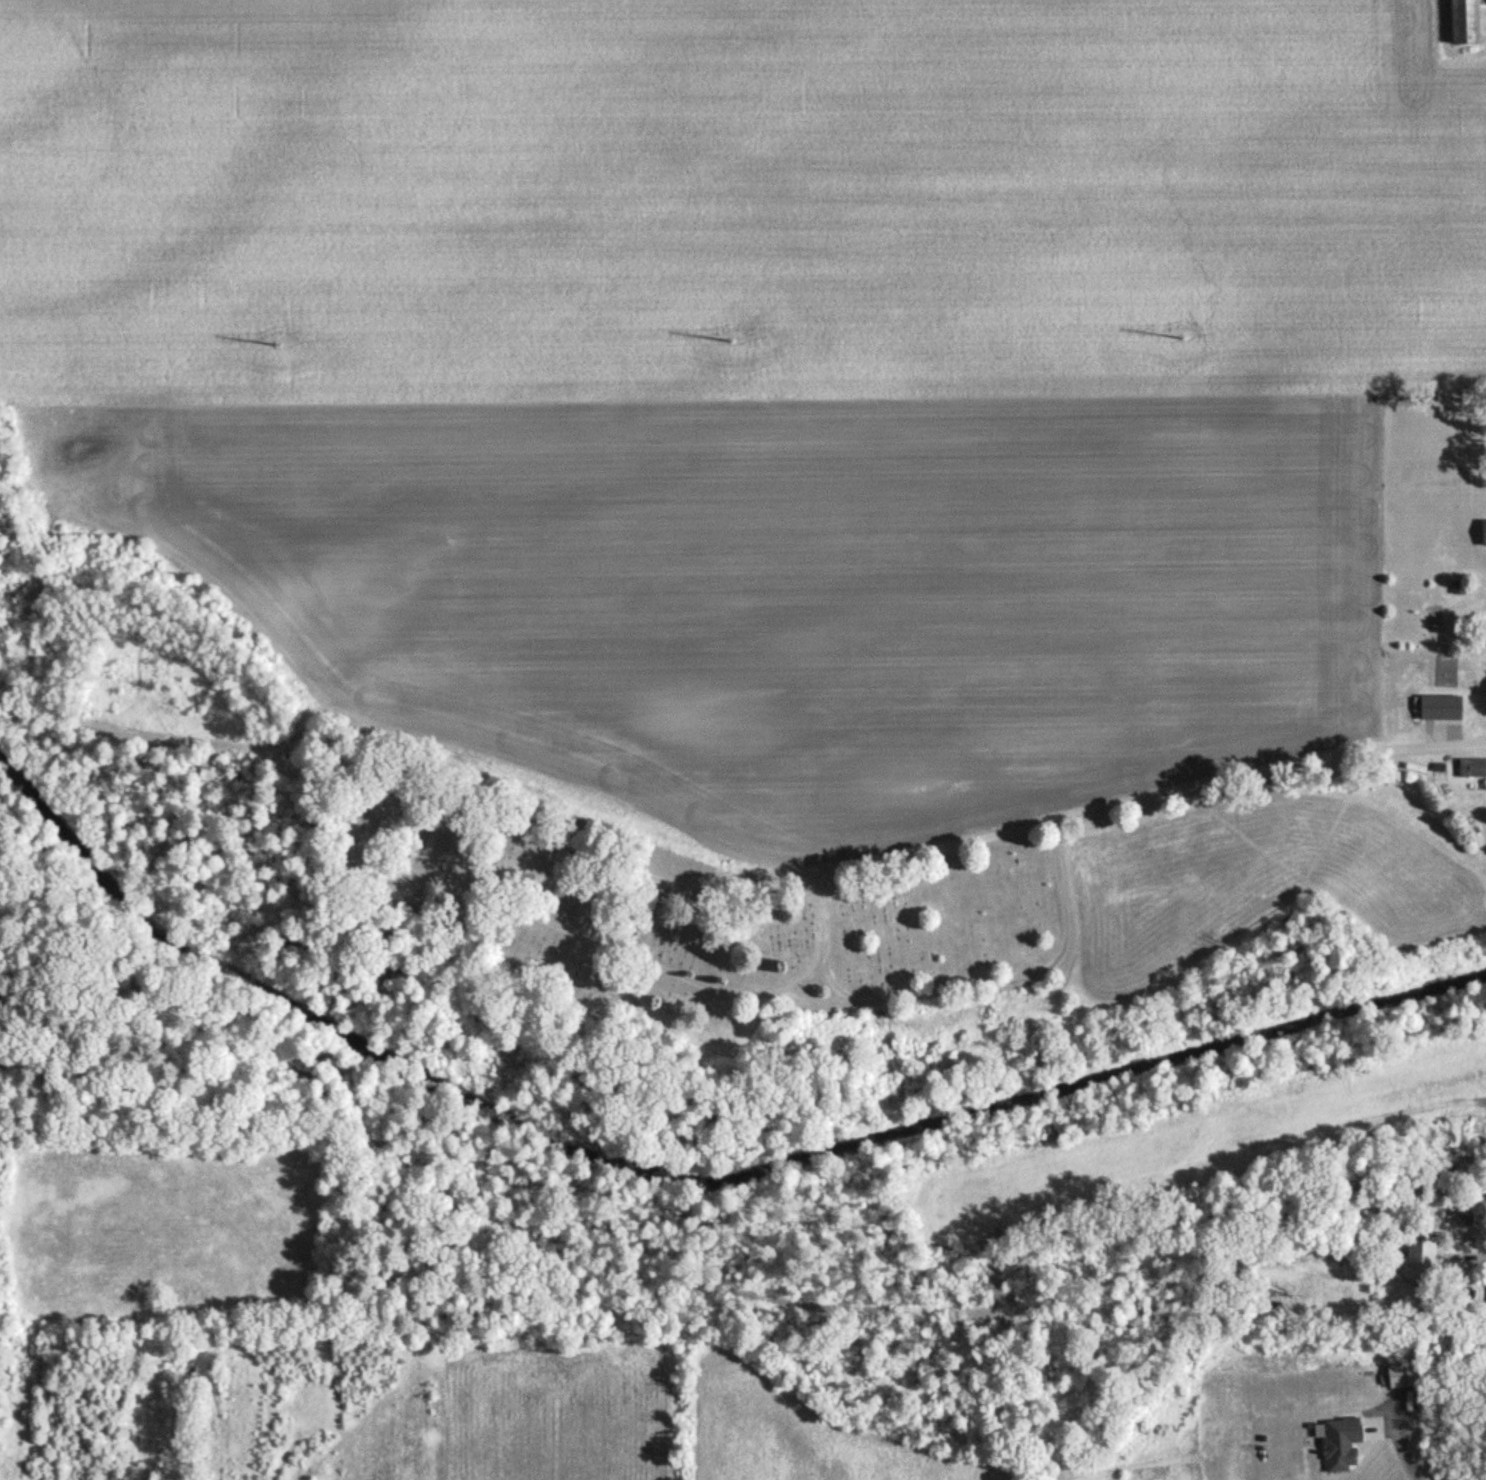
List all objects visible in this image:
building: (1463, 21)
power tower: (1182, 342)
power tower: (731, 344)
power tower: (278, 348)
building: (1482, 533)
road: (363, 761)
building: (1471, 768)
road: (1265, 769)
road: (738, 892)
park: (768, 909)
road: (683, 978)
road: (848, 997)
building: (1416, 1259)
building: (1338, 1445)
road: (1397, 1451)

